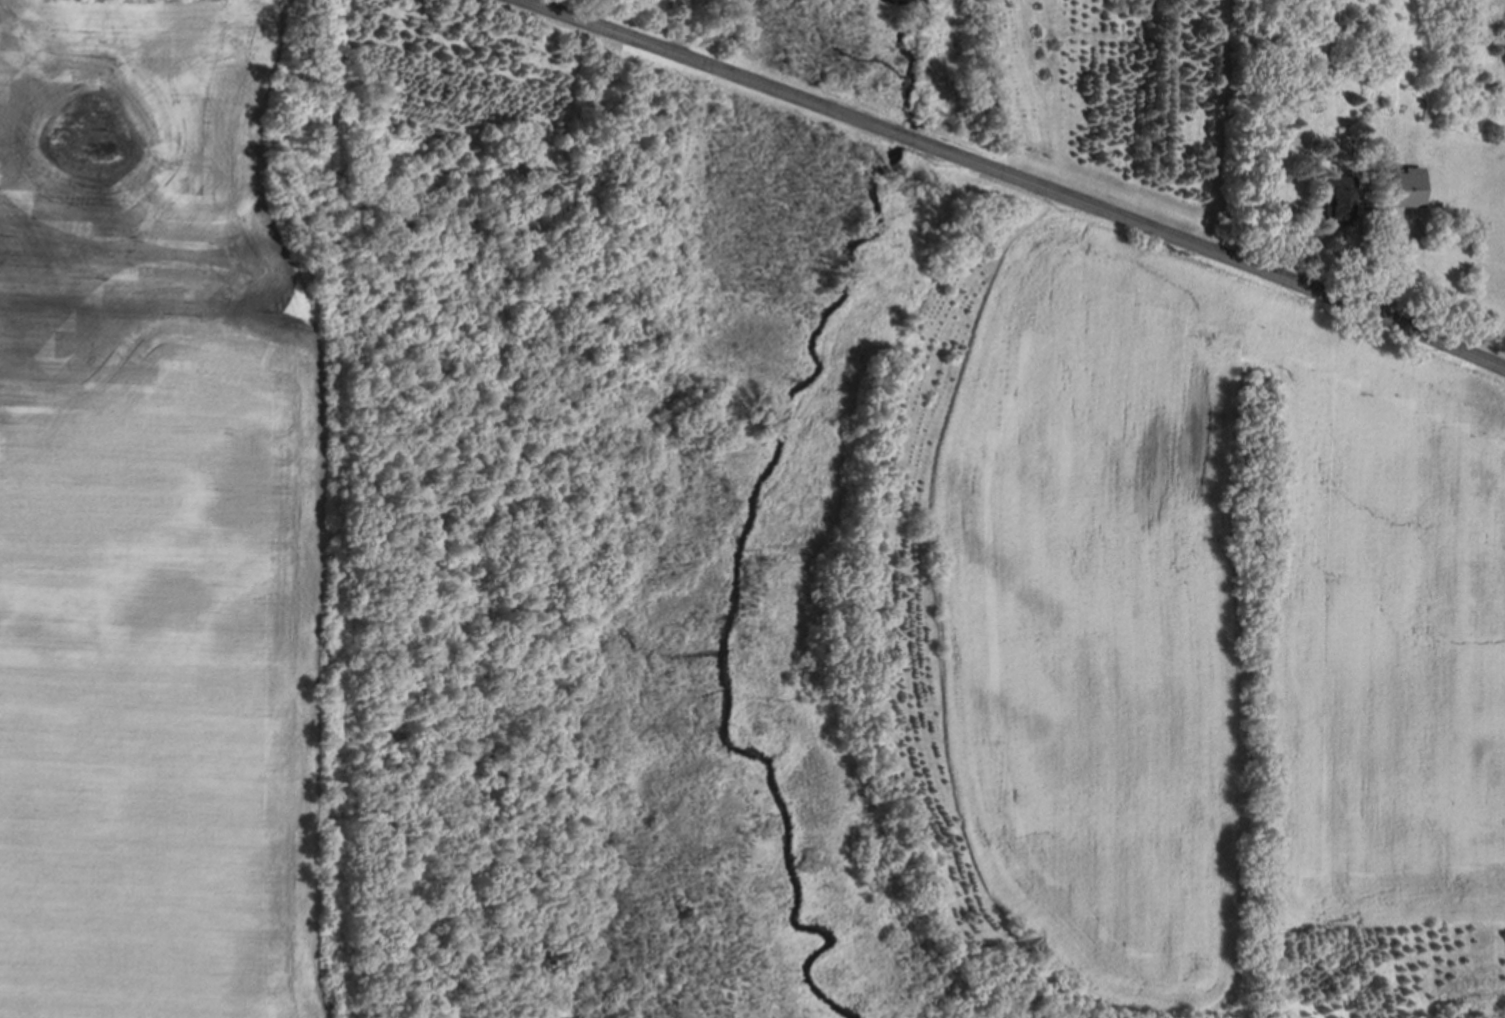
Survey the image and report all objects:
road: (1220, 126)
road: (1015, 180)
building: (1407, 188)
building: (1338, 198)

